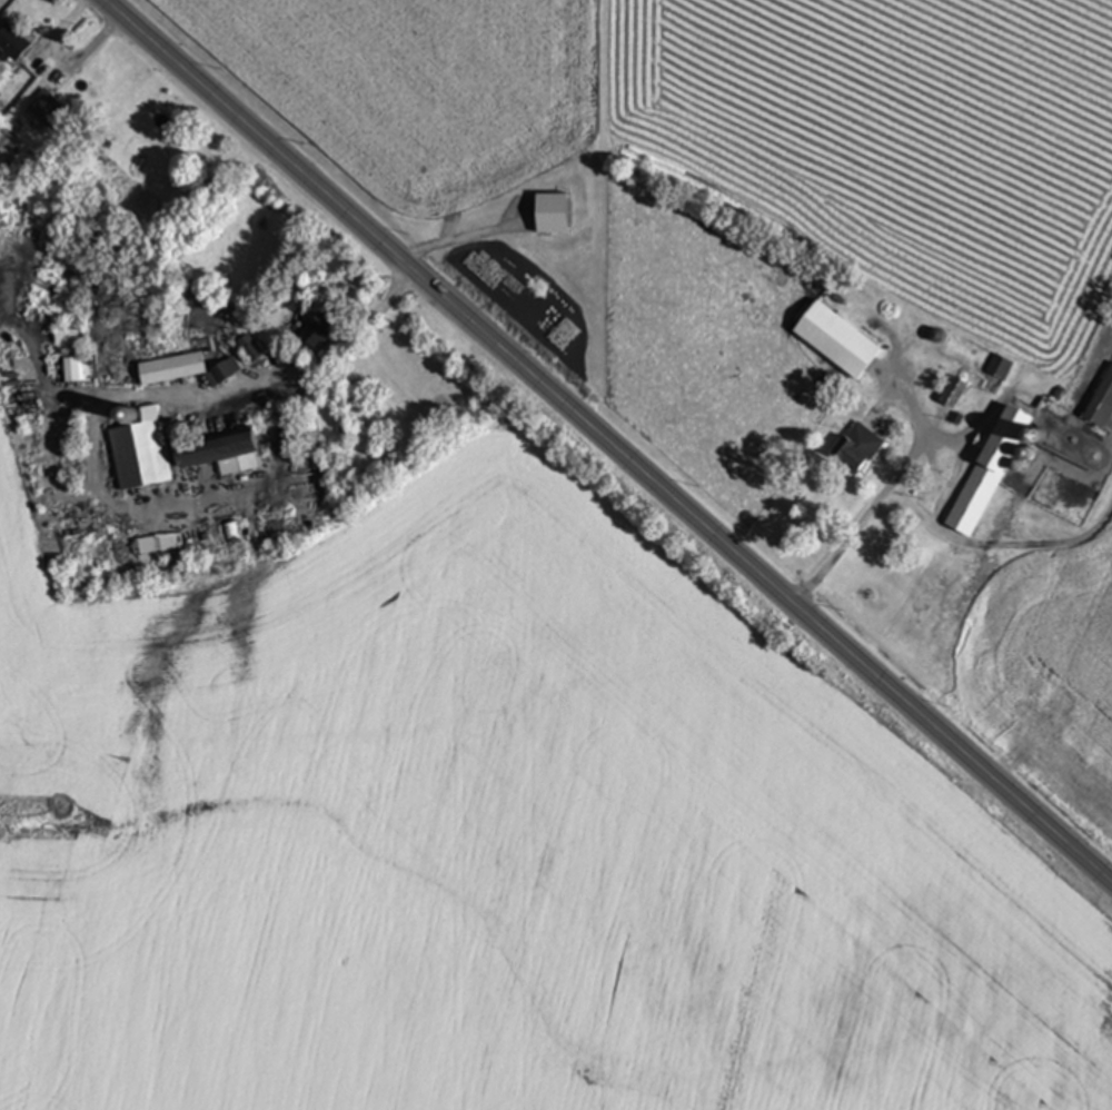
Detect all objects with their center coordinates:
building: (12, 44)
building: (51, 111)
building: (553, 215)
road: (455, 238)
building: (320, 334)
building: (68, 338)
building: (838, 340)
building: (1000, 367)
building: (173, 369)
building: (71, 370)
building: (954, 393)
building: (1101, 404)
road: (286, 415)
road: (603, 447)
building: (857, 449)
building: (221, 453)
building: (141, 455)
building: (989, 472)
road: (876, 504)

